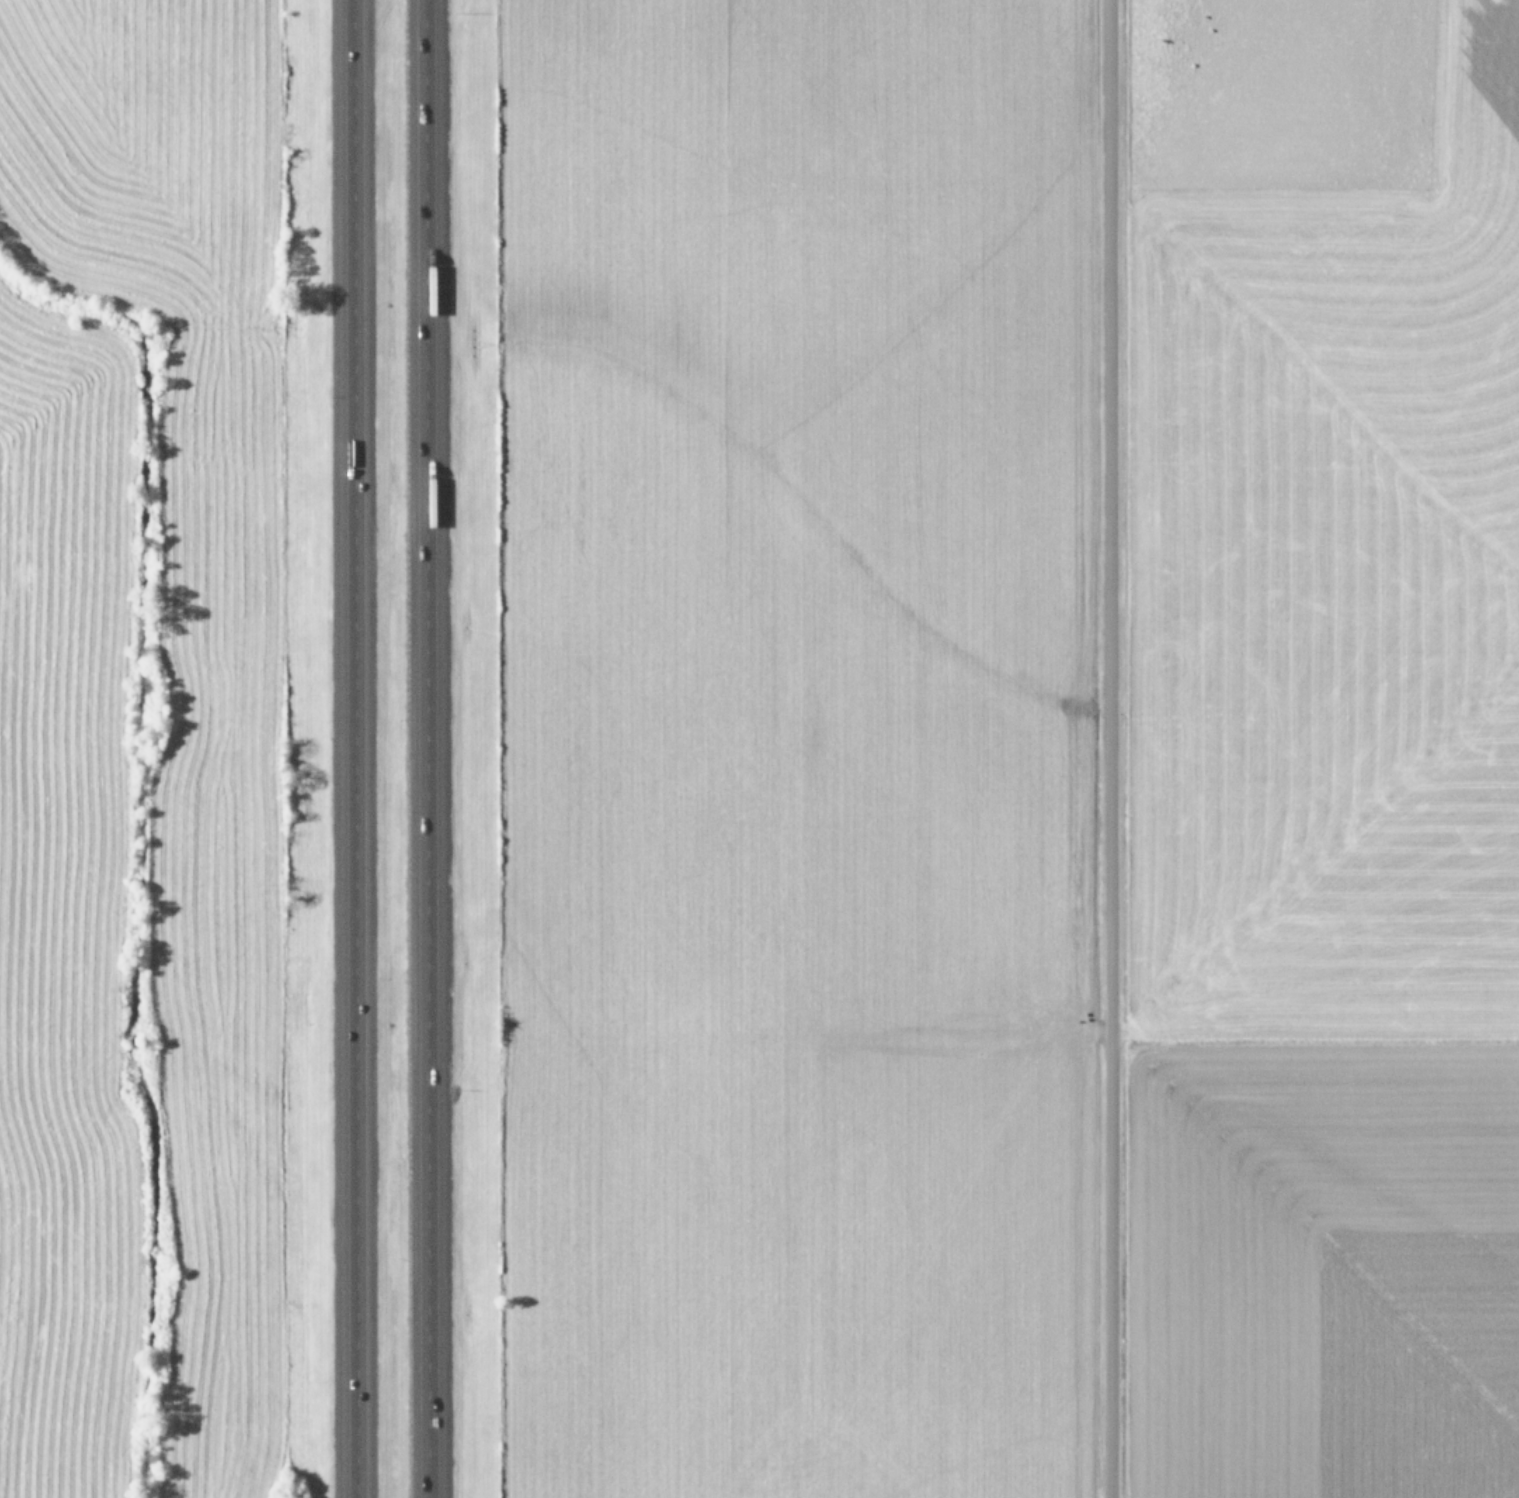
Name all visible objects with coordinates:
crop: (1015, 748)
road: (363, 749)
road: (429, 749)
road: (1110, 749)
crop: (155, 756)

